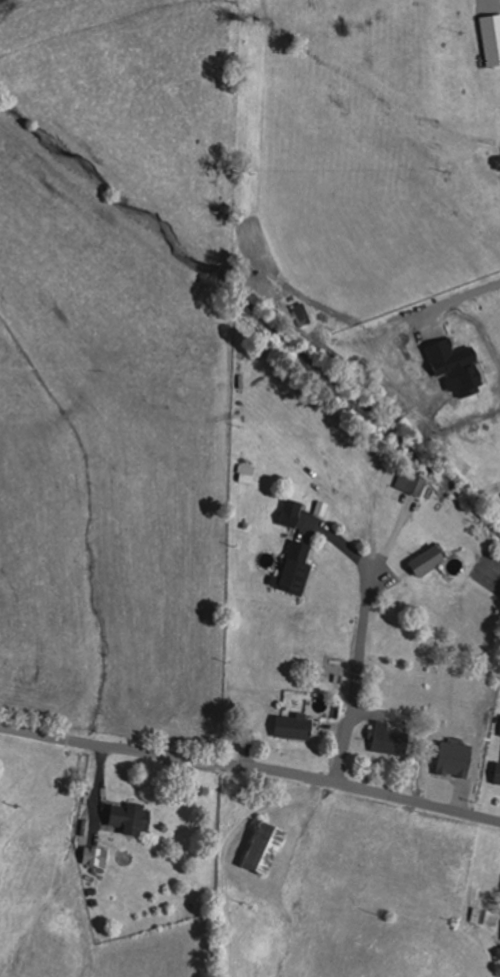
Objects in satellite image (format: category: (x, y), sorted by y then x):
building: (491, 38)
building: (302, 314)
building: (416, 484)
building: (289, 519)
building: (426, 560)
building: (295, 569)
road: (349, 685)
building: (293, 727)
building: (389, 740)
road: (251, 768)
building: (497, 776)
building: (130, 818)
building: (263, 849)
building: (96, 856)
building: (485, 916)
building: (65, 920)

